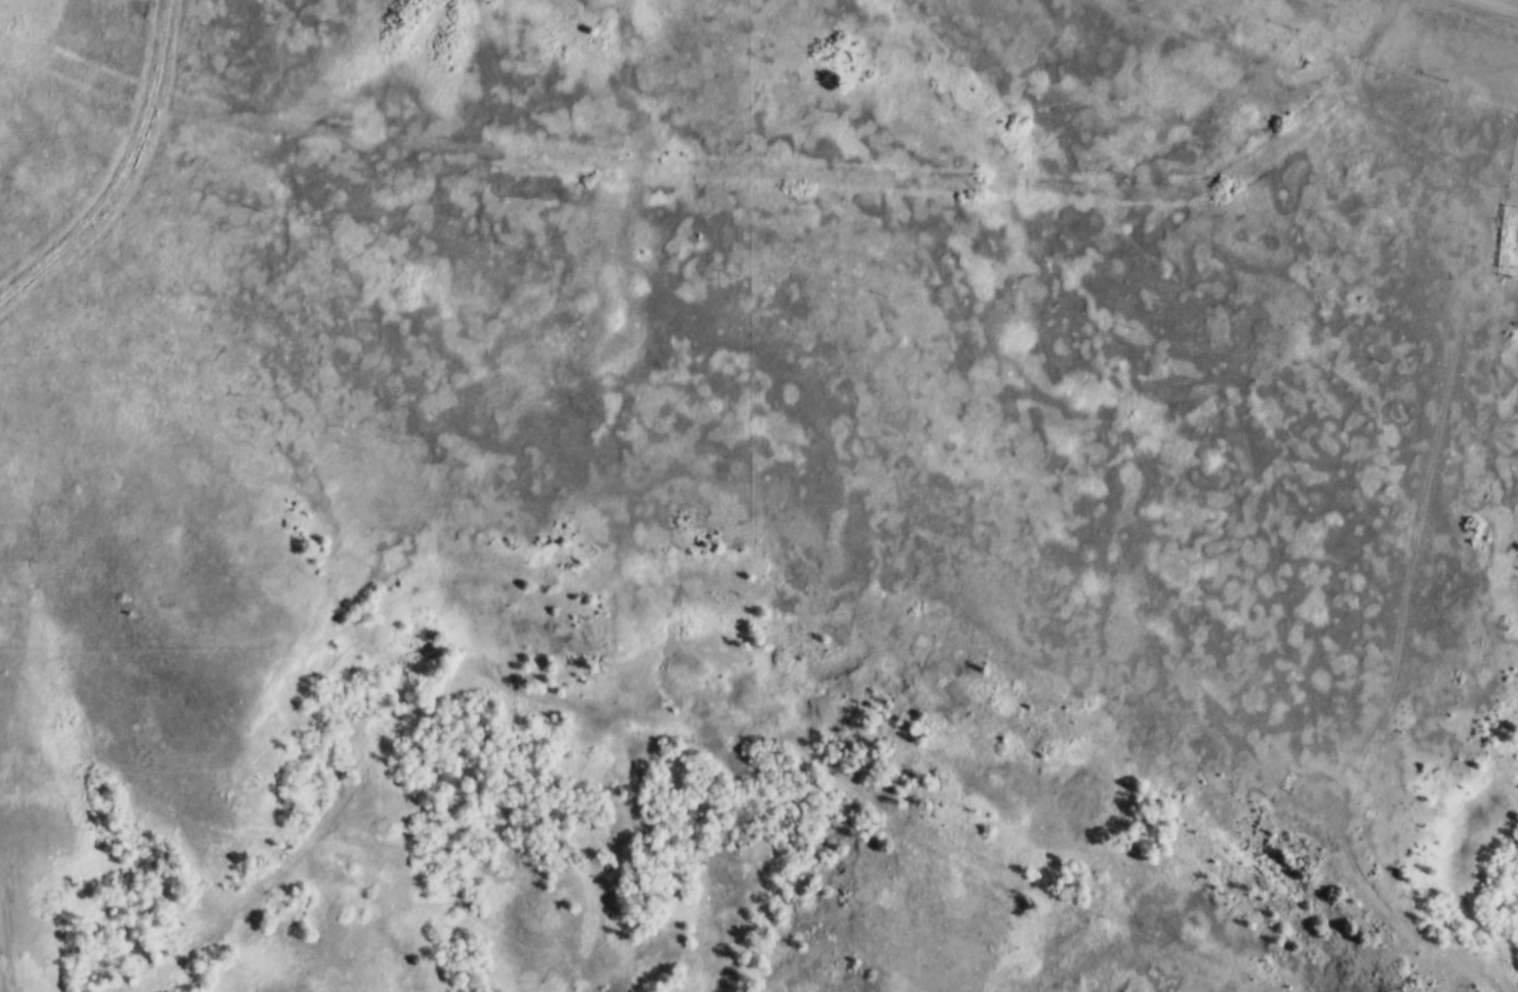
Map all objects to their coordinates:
road: (1498, 5)
road: (1455, 50)
road: (125, 176)
road: (1420, 516)

